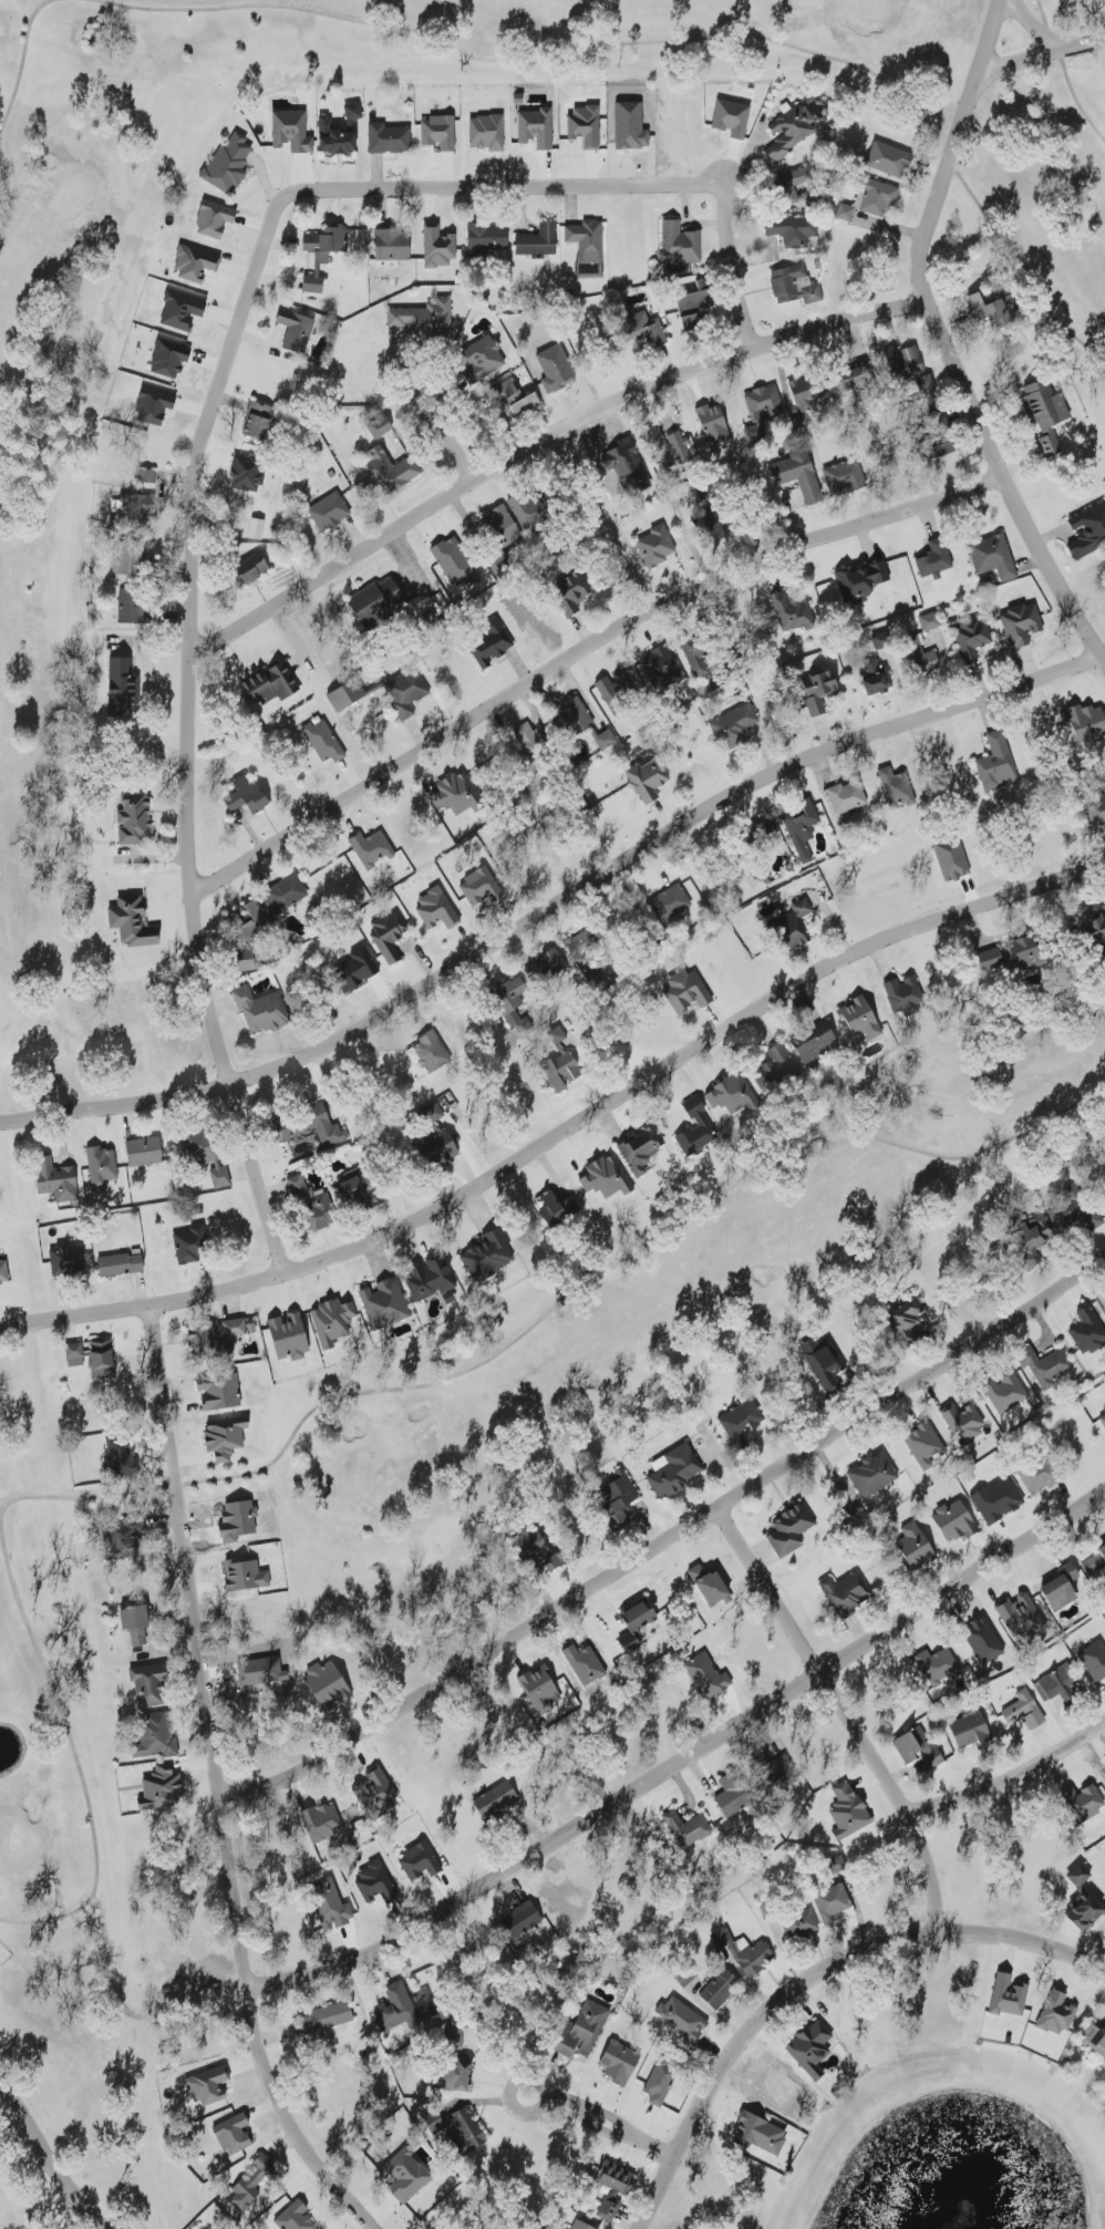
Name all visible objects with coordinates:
road: (1041, 27)
road: (1044, 59)
building: (732, 118)
building: (585, 126)
building: (536, 128)
building: (291, 131)
building: (792, 132)
building: (440, 133)
building: (486, 133)
building: (337, 138)
building: (389, 140)
building: (889, 159)
building: (229, 165)
building: (799, 179)
building: (879, 198)
building: (847, 214)
building: (215, 220)
building: (793, 230)
building: (488, 241)
building: (587, 241)
building: (539, 242)
building: (680, 244)
building: (390, 246)
building: (437, 248)
building: (322, 256)
building: (195, 264)
building: (794, 286)
building: (694, 309)
building: (994, 309)
building: (183, 312)
building: (425, 319)
building: (296, 331)
building: (650, 331)
road: (944, 338)
building: (483, 359)
building: (912, 359)
building: (169, 360)
building: (854, 382)
building: (510, 393)
building: (807, 393)
building: (765, 404)
building: (156, 407)
building: (1047, 412)
building: (260, 422)
road: (443, 432)
road: (206, 433)
road: (541, 434)
building: (755, 434)
building: (391, 469)
building: (247, 474)
building: (146, 476)
building: (845, 477)
building: (801, 478)
building: (128, 508)
building: (708, 508)
building: (533, 512)
building: (329, 513)
building: (500, 526)
building: (1091, 535)
building: (657, 546)
building: (993, 558)
building: (936, 560)
building: (455, 564)
building: (259, 566)
building: (500, 566)
building: (133, 567)
building: (861, 581)
building: (378, 603)
building: (133, 607)
building: (929, 622)
building: (1022, 625)
building: (974, 642)
building: (494, 647)
road: (586, 651)
building: (698, 656)
building: (929, 662)
building: (662, 672)
building: (878, 678)
building: (124, 688)
building: (618, 692)
building: (407, 693)
building: (820, 699)
building: (341, 701)
building: (574, 719)
building: (739, 725)
building: (531, 739)
building: (605, 741)
building: (323, 743)
building: (996, 764)
park: (506, 776)
building: (649, 782)
building: (897, 790)
building: (459, 795)
building: (846, 797)
building: (249, 801)
building: (1101, 815)
building: (135, 821)
building: (802, 828)
building: (371, 850)
building: (953, 860)
building: (481, 888)
building: (286, 895)
building: (672, 902)
road: (555, 907)
building: (436, 911)
building: (252, 915)
building: (133, 923)
building: (794, 926)
building: (389, 936)
building: (586, 941)
building: (1012, 957)
building: (547, 970)
building: (689, 994)
building: (905, 997)
building: (515, 1009)
building: (262, 1012)
building: (860, 1020)
building: (817, 1044)
building: (428, 1054)
building: (775, 1071)
building: (567, 1073)
building: (732, 1095)
building: (321, 1128)
building: (695, 1128)
road: (565, 1137)
building: (437, 1145)
building: (641, 1150)
building: (145, 1152)
building: (204, 1152)
building: (101, 1168)
building: (606, 1178)
building: (59, 1184)
building: (358, 1186)
building: (300, 1187)
building: (555, 1207)
building: (321, 1211)
building: (1070, 1216)
building: (1043, 1235)
building: (190, 1245)
building: (488, 1256)
building: (68, 1260)
building: (121, 1265)
building: (3, 1269)
building: (432, 1280)
building: (384, 1303)
building: (912, 1311)
building: (332, 1322)
building: (1088, 1330)
building: (218, 1335)
building: (290, 1337)
building: (94, 1358)
building: (1050, 1368)
building: (830, 1375)
building: (219, 1391)
building: (1005, 1393)
building: (961, 1418)
building: (1102, 1420)
building: (742, 1422)
building: (226, 1437)
building: (925, 1445)
building: (677, 1472)
building: (872, 1475)
building: (1041, 1476)
building: (999, 1500)
building: (791, 1530)
road: (667, 1538)
building: (1095, 1562)
building: (246, 1576)
building: (1066, 1587)
building: (846, 1593)
building: (1020, 1616)
building: (640, 1620)
building: (137, 1624)
building: (985, 1641)
building: (1095, 1661)
building: (937, 1666)
building: (151, 1685)
building: (331, 1688)
building: (539, 1688)
building: (1024, 1711)
road: (850, 1716)
building: (971, 1732)
building: (156, 1737)
building: (919, 1751)
road: (685, 1760)
road: (1014, 1778)
road: (220, 1787)
building: (162, 1789)
building: (376, 1791)
building: (735, 1795)
building: (1086, 1800)
building: (495, 1803)
building: (322, 1824)
building: (688, 1829)
building: (420, 1862)
building: (1080, 1876)
building: (378, 1884)
building: (833, 1905)
building: (770, 1907)
building: (524, 1922)
building: (801, 1926)
building: (756, 1959)
road: (814, 1981)
building: (721, 1990)
building: (1009, 1996)
building: (402, 2009)
building: (1056, 2014)
building: (684, 2019)
building: (323, 2020)
building: (587, 2029)
building: (1095, 2040)
building: (815, 2050)
building: (620, 2064)
building: (454, 2080)
building: (661, 2084)
building: (208, 2087)
road: (605, 2120)
building: (234, 2135)
road: (48, 2156)
building: (405, 2176)
building: (255, 2182)
building: (612, 2194)
building: (295, 2218)
building: (582, 2226)

